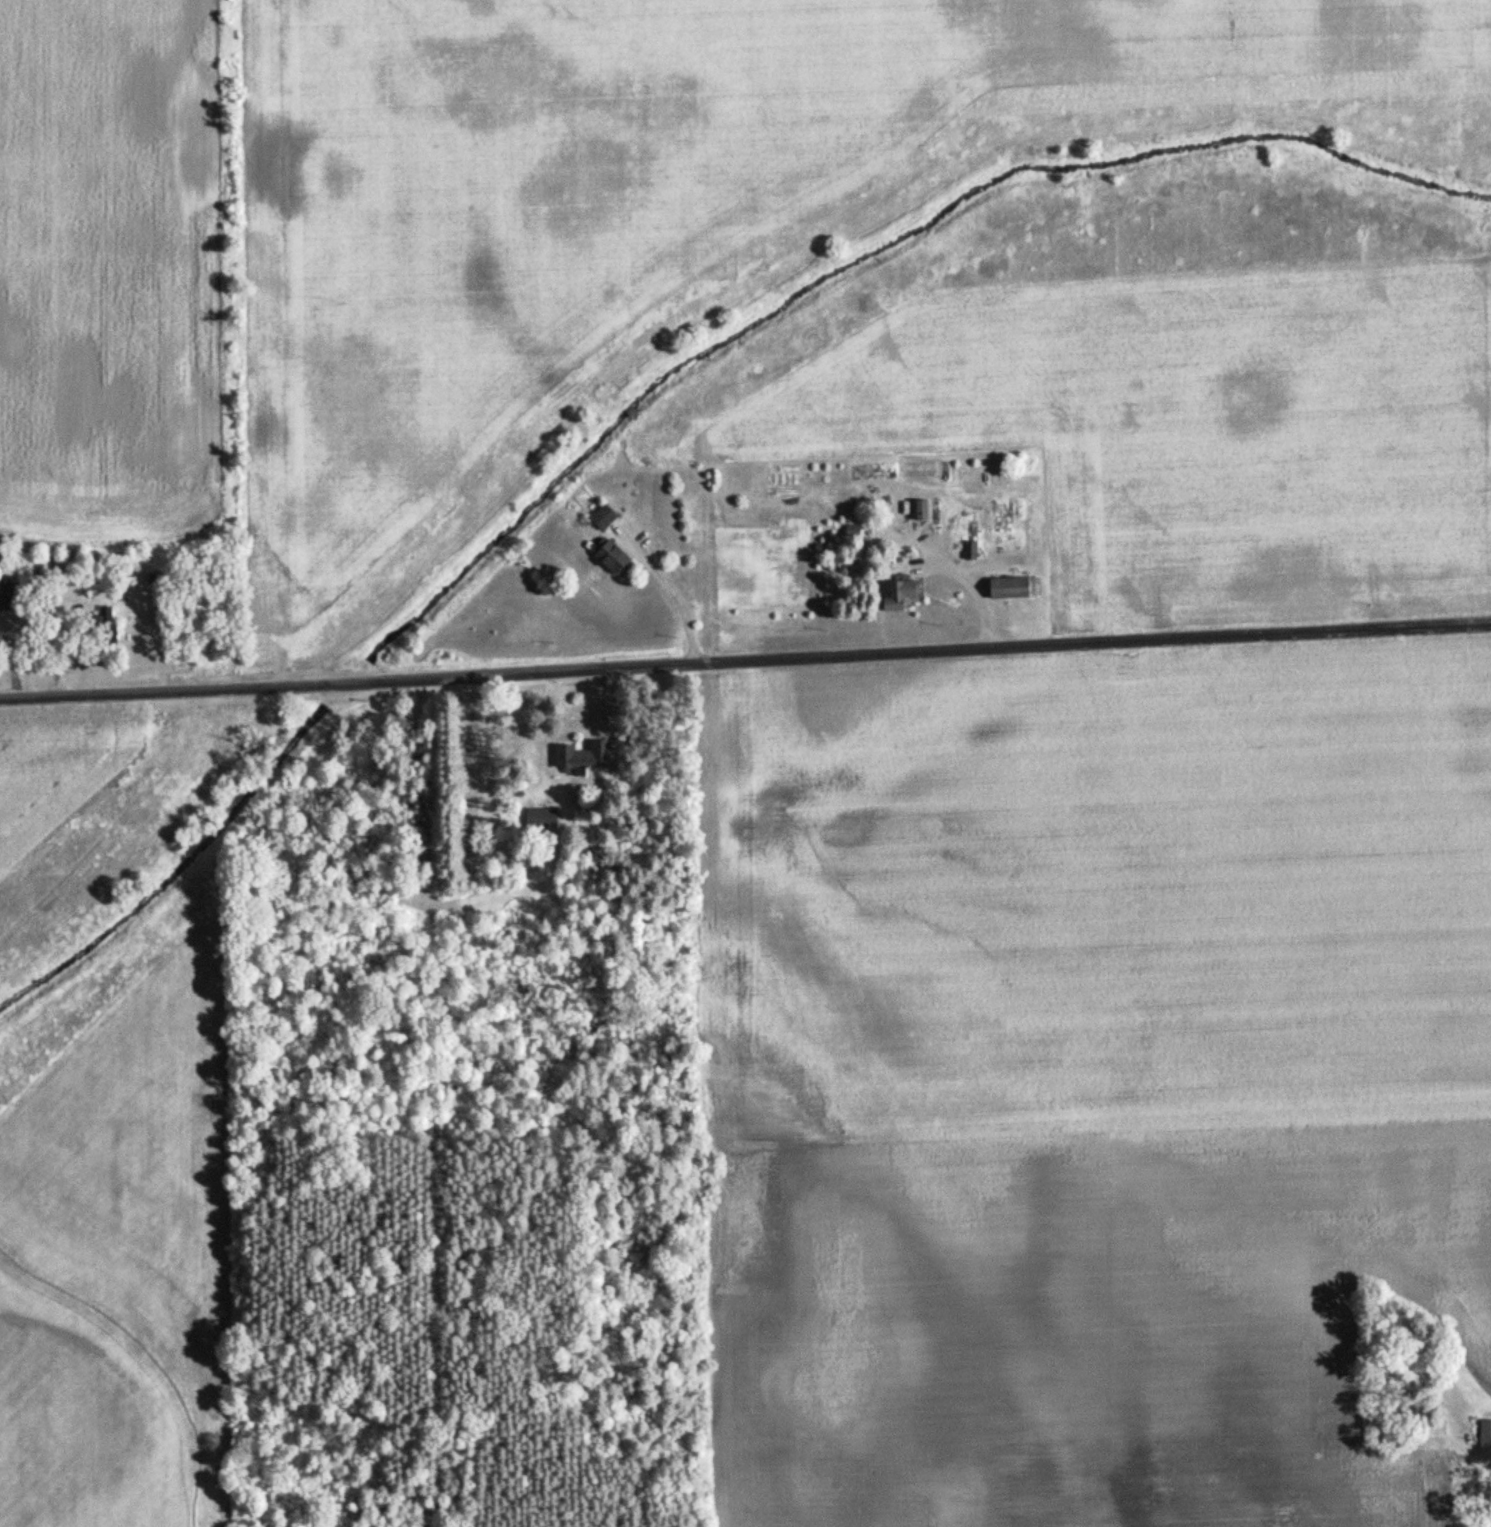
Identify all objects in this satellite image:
building: (921, 510)
building: (600, 518)
building: (970, 551)
building: (610, 559)
building: (1012, 588)
road: (668, 589)
road: (973, 595)
building: (898, 596)
building: (2, 598)
road: (745, 664)
building: (578, 758)
building: (1430, 1425)
building: (1484, 1434)

